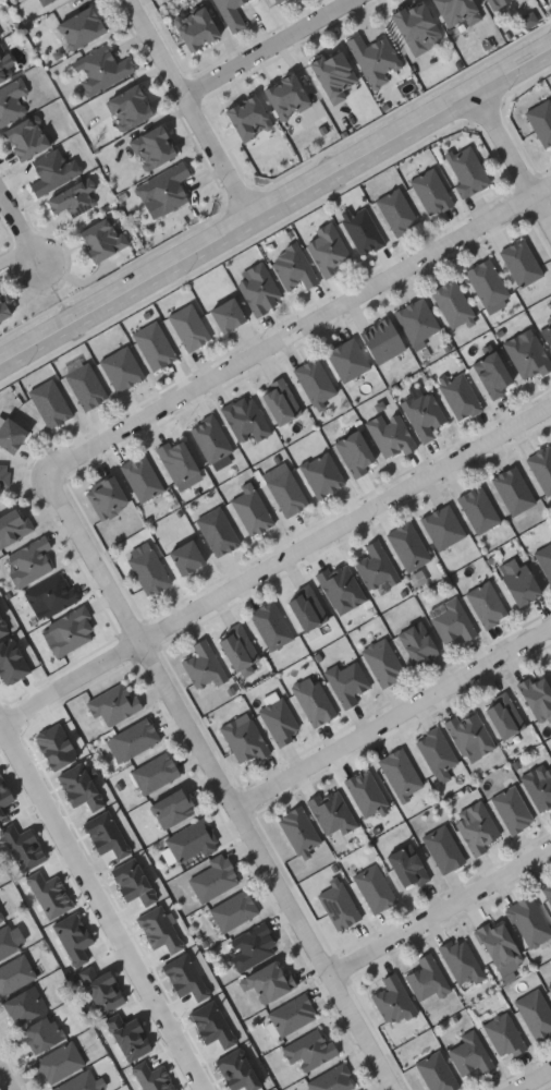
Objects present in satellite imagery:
building: (277, 0)
building: (46, 1)
building: (494, 3)
building: (458, 11)
building: (232, 13)
building: (416, 25)
building: (81, 27)
building: (197, 27)
building: (0, 35)
building: (0, 38)
road: (268, 48)
building: (376, 58)
building: (4, 69)
building: (102, 69)
building: (334, 74)
building: (287, 95)
building: (12, 100)
building: (131, 107)
road: (192, 111)
building: (248, 117)
building: (541, 121)
building: (28, 137)
building: (154, 147)
road: (514, 158)
building: (467, 170)
building: (53, 171)
building: (166, 187)
building: (431, 191)
road: (543, 191)
building: (73, 197)
road: (274, 209)
building: (396, 211)
road: (21, 225)
building: (362, 230)
building: (103, 238)
building: (328, 249)
building: (521, 263)
building: (293, 267)
building: (487, 283)
building: (258, 288)
building: (452, 303)
building: (3, 308)
building: (226, 315)
building: (416, 319)
building: (189, 327)
building: (547, 331)
road: (292, 335)
building: (381, 340)
building: (154, 346)
building: (527, 355)
building: (347, 360)
building: (121, 368)
building: (492, 374)
building: (315, 381)
building: (86, 386)
building: (460, 396)
building: (280, 401)
building: (50, 402)
building: (423, 413)
building: (246, 420)
building: (11, 434)
building: (390, 435)
building: (210, 438)
building: (355, 452)
building: (176, 460)
building: (541, 468)
building: (321, 474)
building: (3, 475)
building: (142, 477)
building: (513, 489)
building: (286, 493)
building: (106, 498)
building: (478, 509)
building: (252, 511)
building: (14, 525)
building: (442, 526)
building: (217, 531)
building: (407, 546)
building: (185, 558)
building: (544, 560)
building: (28, 561)
building: (375, 567)
building: (147, 569)
road: (280, 569)
building: (340, 585)
building: (521, 585)
building: (51, 595)
building: (487, 604)
building: (306, 607)
building: (452, 621)
building: (270, 625)
building: (70, 631)
building: (417, 643)
building: (236, 647)
building: (383, 662)
building: (550, 663)
building: (203, 665)
building: (346, 681)
building: (537, 695)
building: (313, 700)
building: (113, 703)
building: (503, 715)
road: (394, 719)
building: (280, 720)
road: (193, 723)
building: (469, 736)
building: (135, 738)
building: (244, 739)
building: (436, 752)
building: (155, 772)
building: (400, 773)
building: (539, 786)
building: (366, 792)
building: (172, 809)
building: (512, 809)
building: (331, 812)
building: (476, 827)
building: (298, 829)
building: (192, 843)
building: (442, 848)
building: (406, 867)
building: (211, 879)
building: (375, 888)
building: (548, 892)
road: (106, 900)
building: (338, 904)
building: (233, 910)
road: (441, 913)
building: (1, 916)
building: (528, 921)
building: (7, 941)
building: (499, 944)
building: (252, 945)
building: (460, 958)
building: (14, 972)
building: (426, 978)
building: (267, 981)
building: (549, 986)
building: (392, 1000)
building: (24, 1004)
building: (536, 1013)
building: (292, 1014)
building: (41, 1033)
road: (364, 1033)
building: (503, 1035)
building: (309, 1050)
building: (469, 1053)
building: (59, 1061)
road: (5, 1078)
building: (332, 1079)
road: (535, 1080)
building: (79, 1082)

